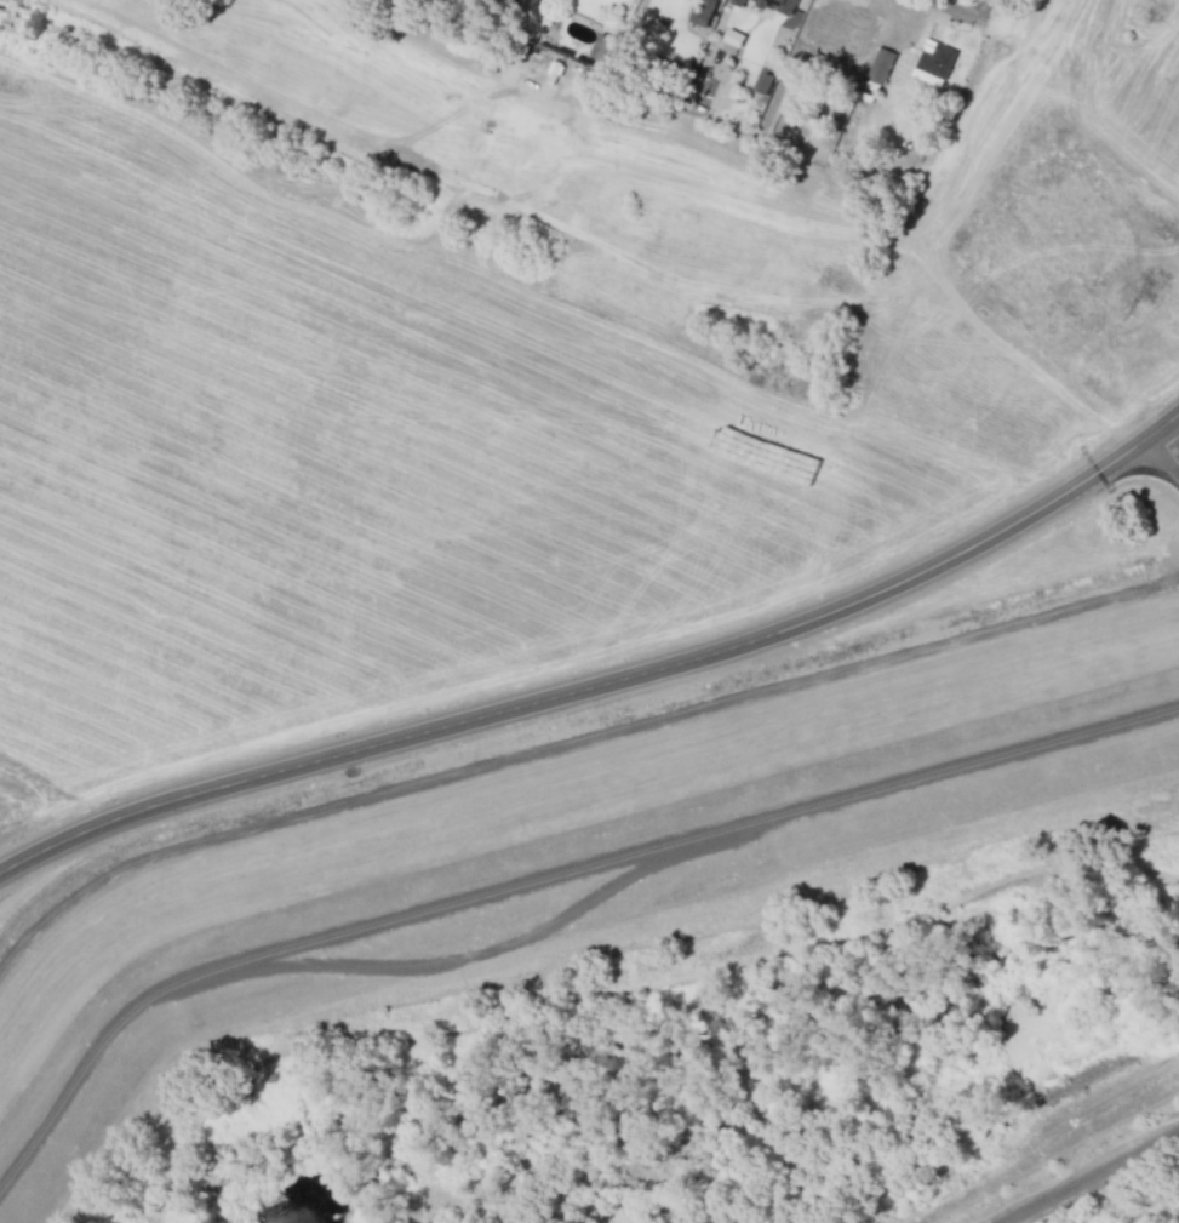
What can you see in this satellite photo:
building: (771, 5)
road: (963, 8)
building: (702, 12)
building: (845, 30)
building: (732, 41)
building: (933, 62)
building: (880, 65)
road: (213, 78)
road: (436, 175)
road: (607, 245)
road: (1166, 450)
road: (607, 686)
road: (1087, 1176)

